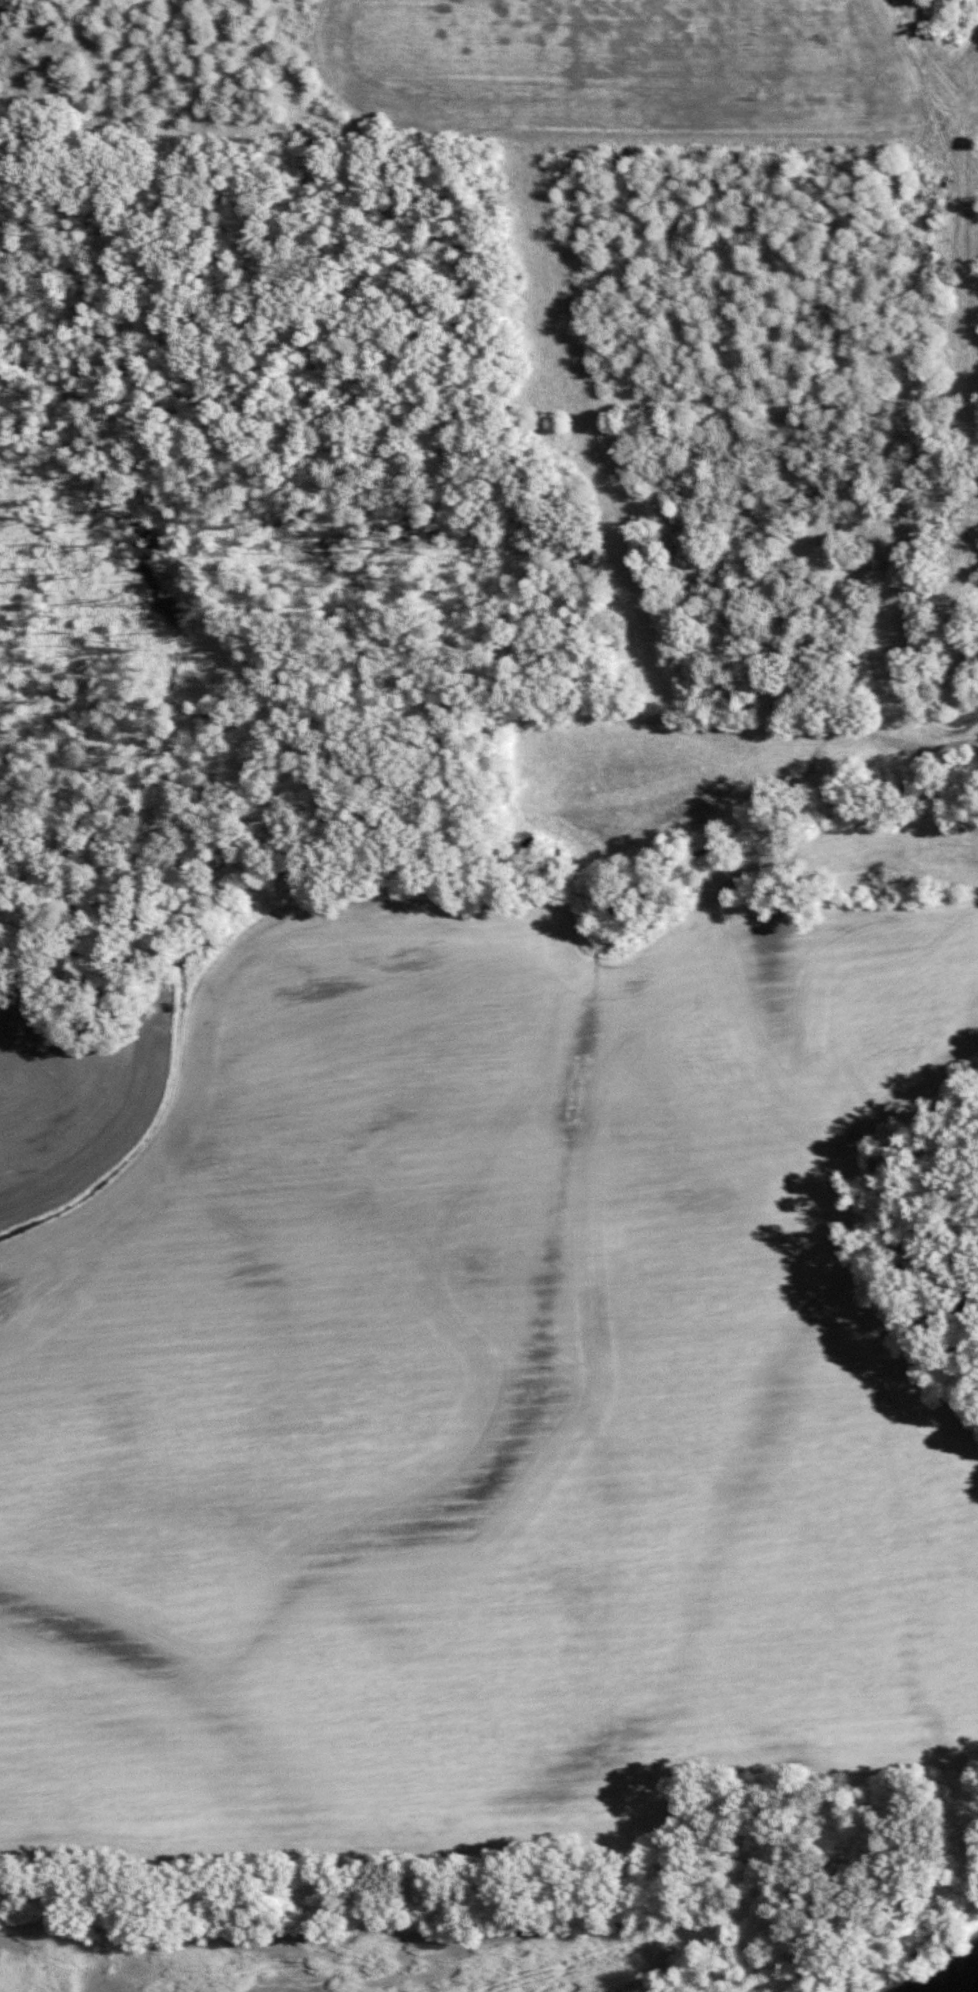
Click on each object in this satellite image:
river: (967, 1985)

